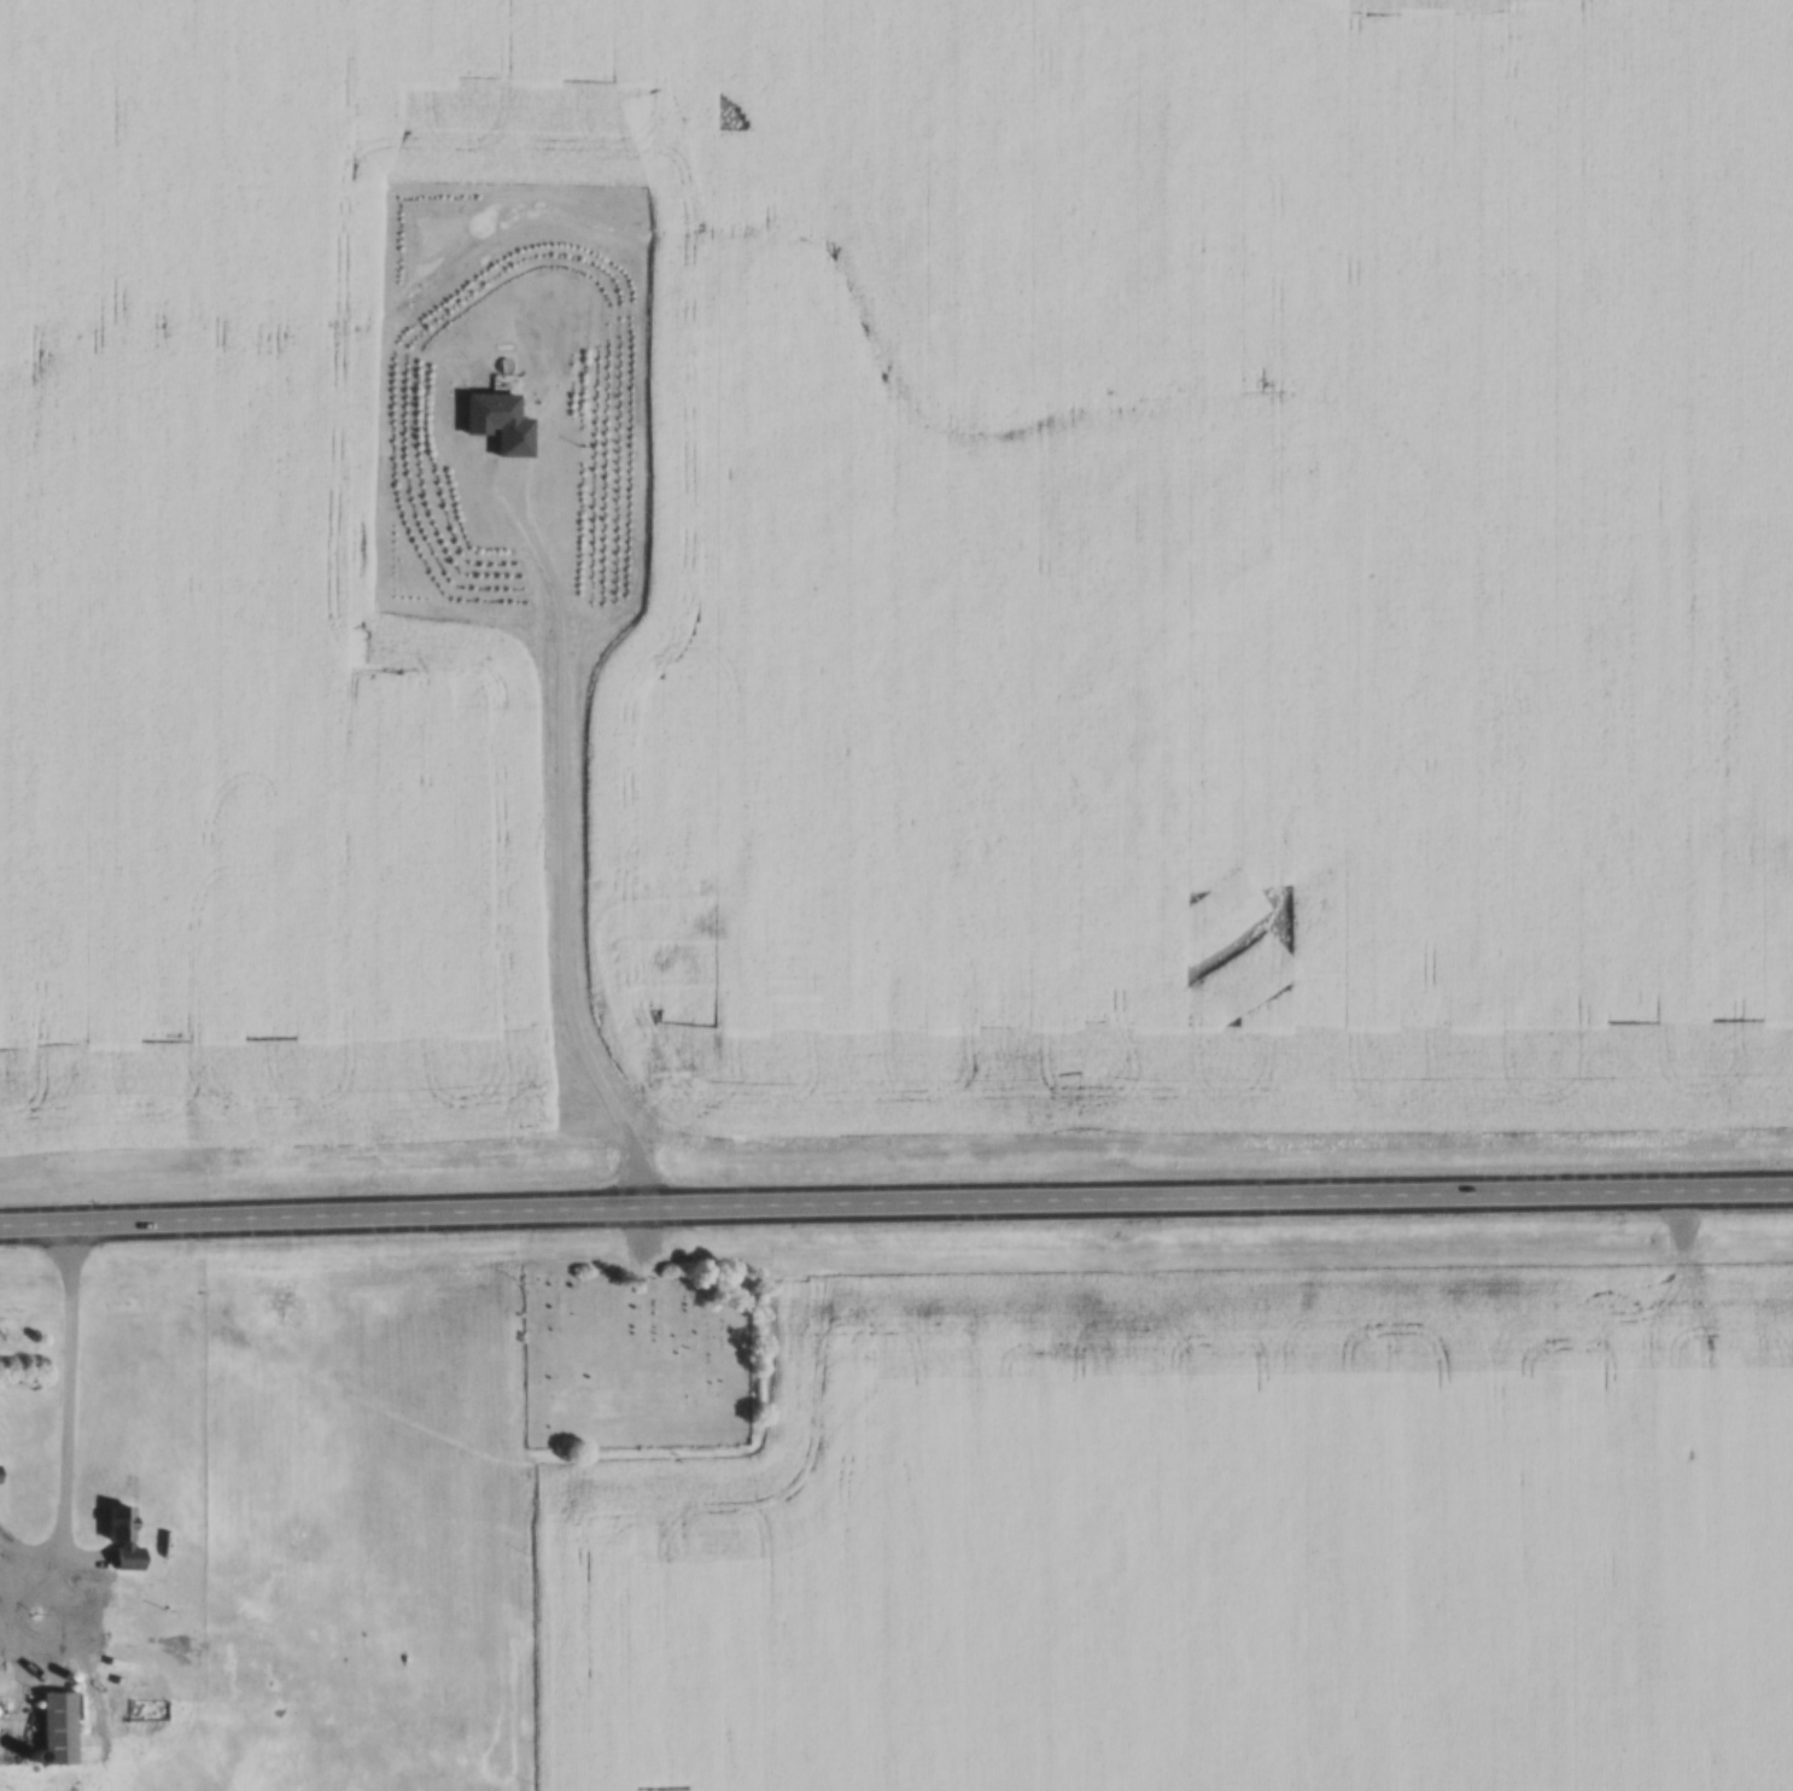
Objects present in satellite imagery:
road: (896, 1221)
building: (129, 1540)
building: (152, 1711)
building: (63, 1728)

